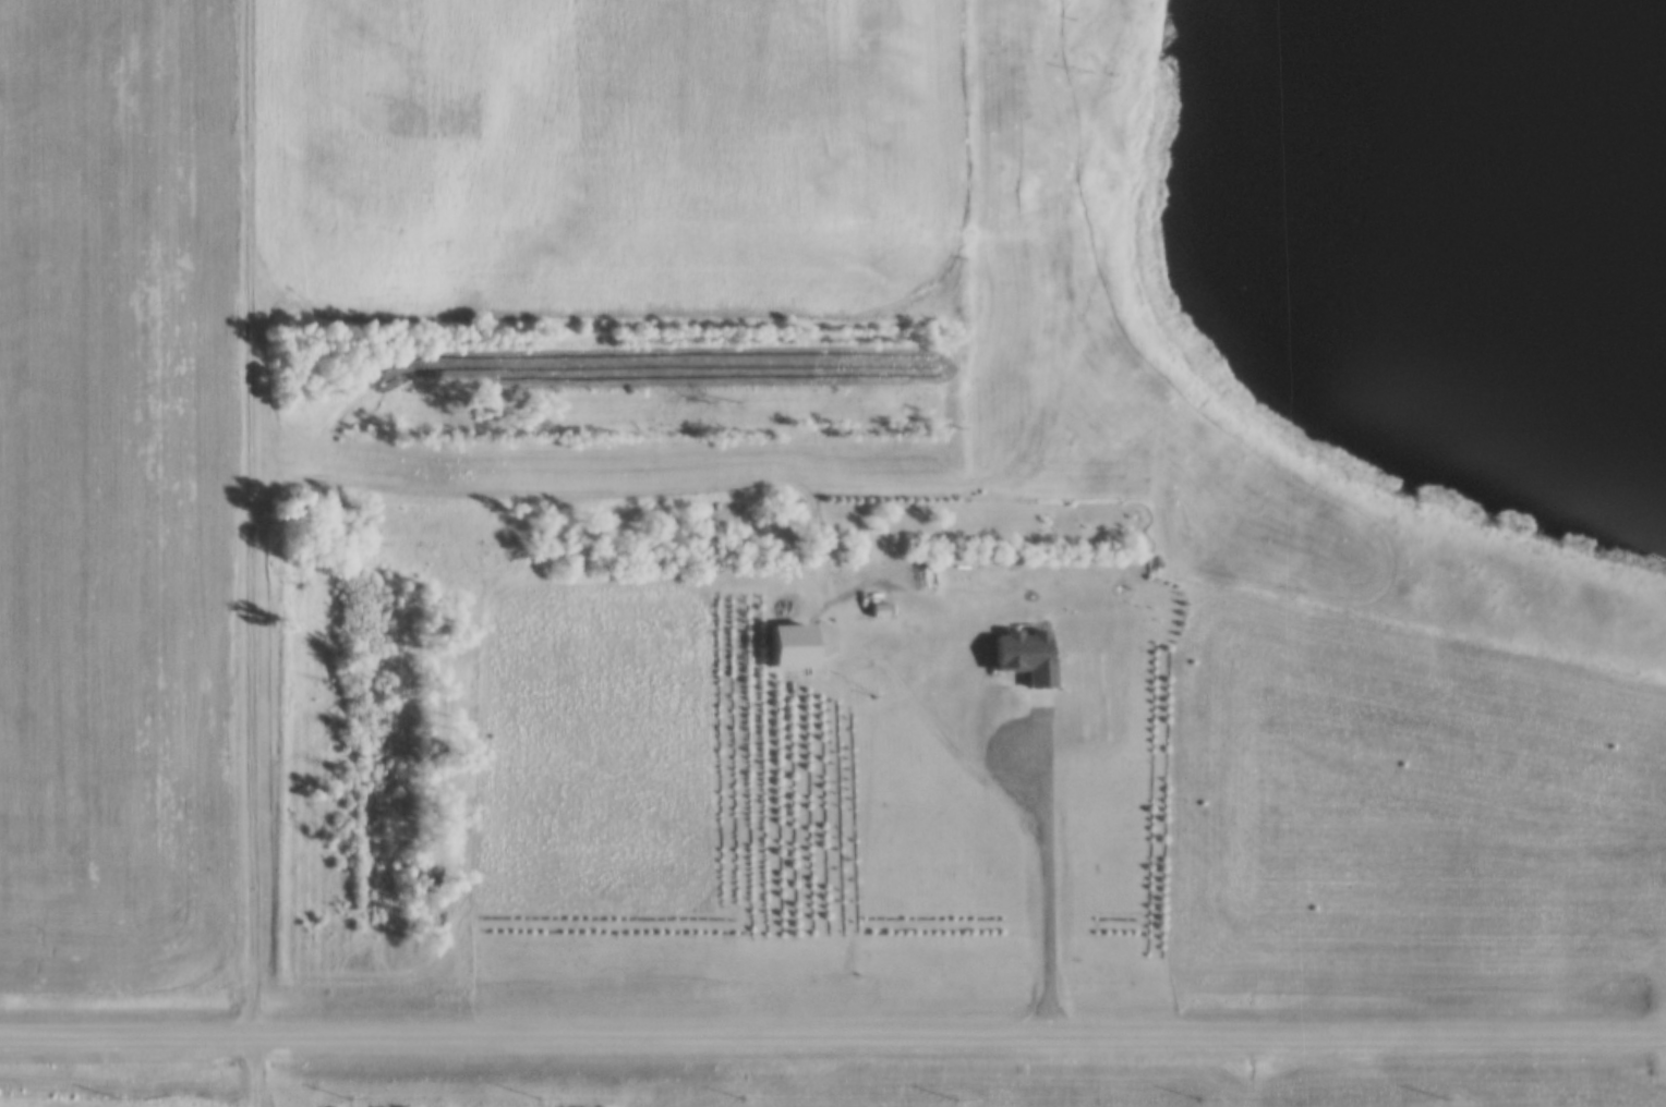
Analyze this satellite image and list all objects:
road: (250, 553)
building: (928, 581)
building: (782, 609)
building: (879, 611)
road: (833, 1032)

